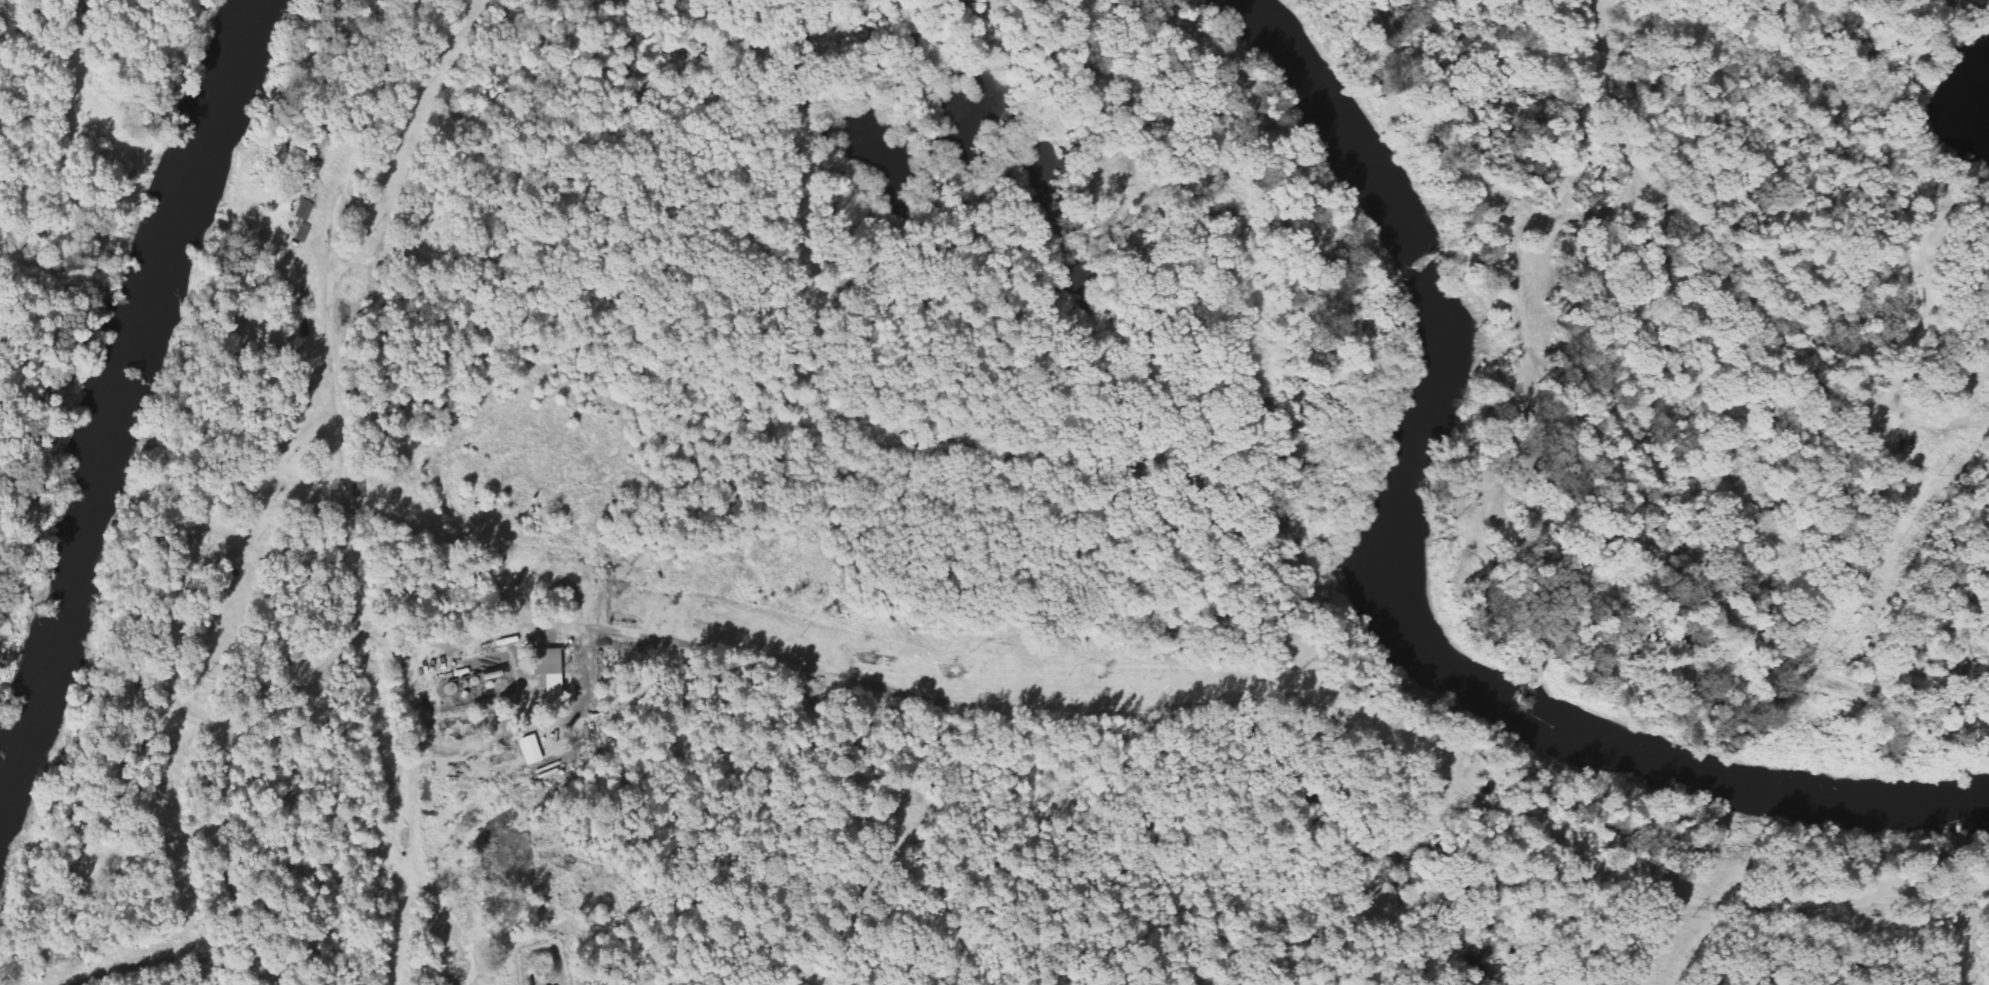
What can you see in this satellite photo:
building: (306, 211)
river: (113, 407)
river: (1383, 598)
building: (548, 672)
building: (530, 751)
road: (1657, 892)

